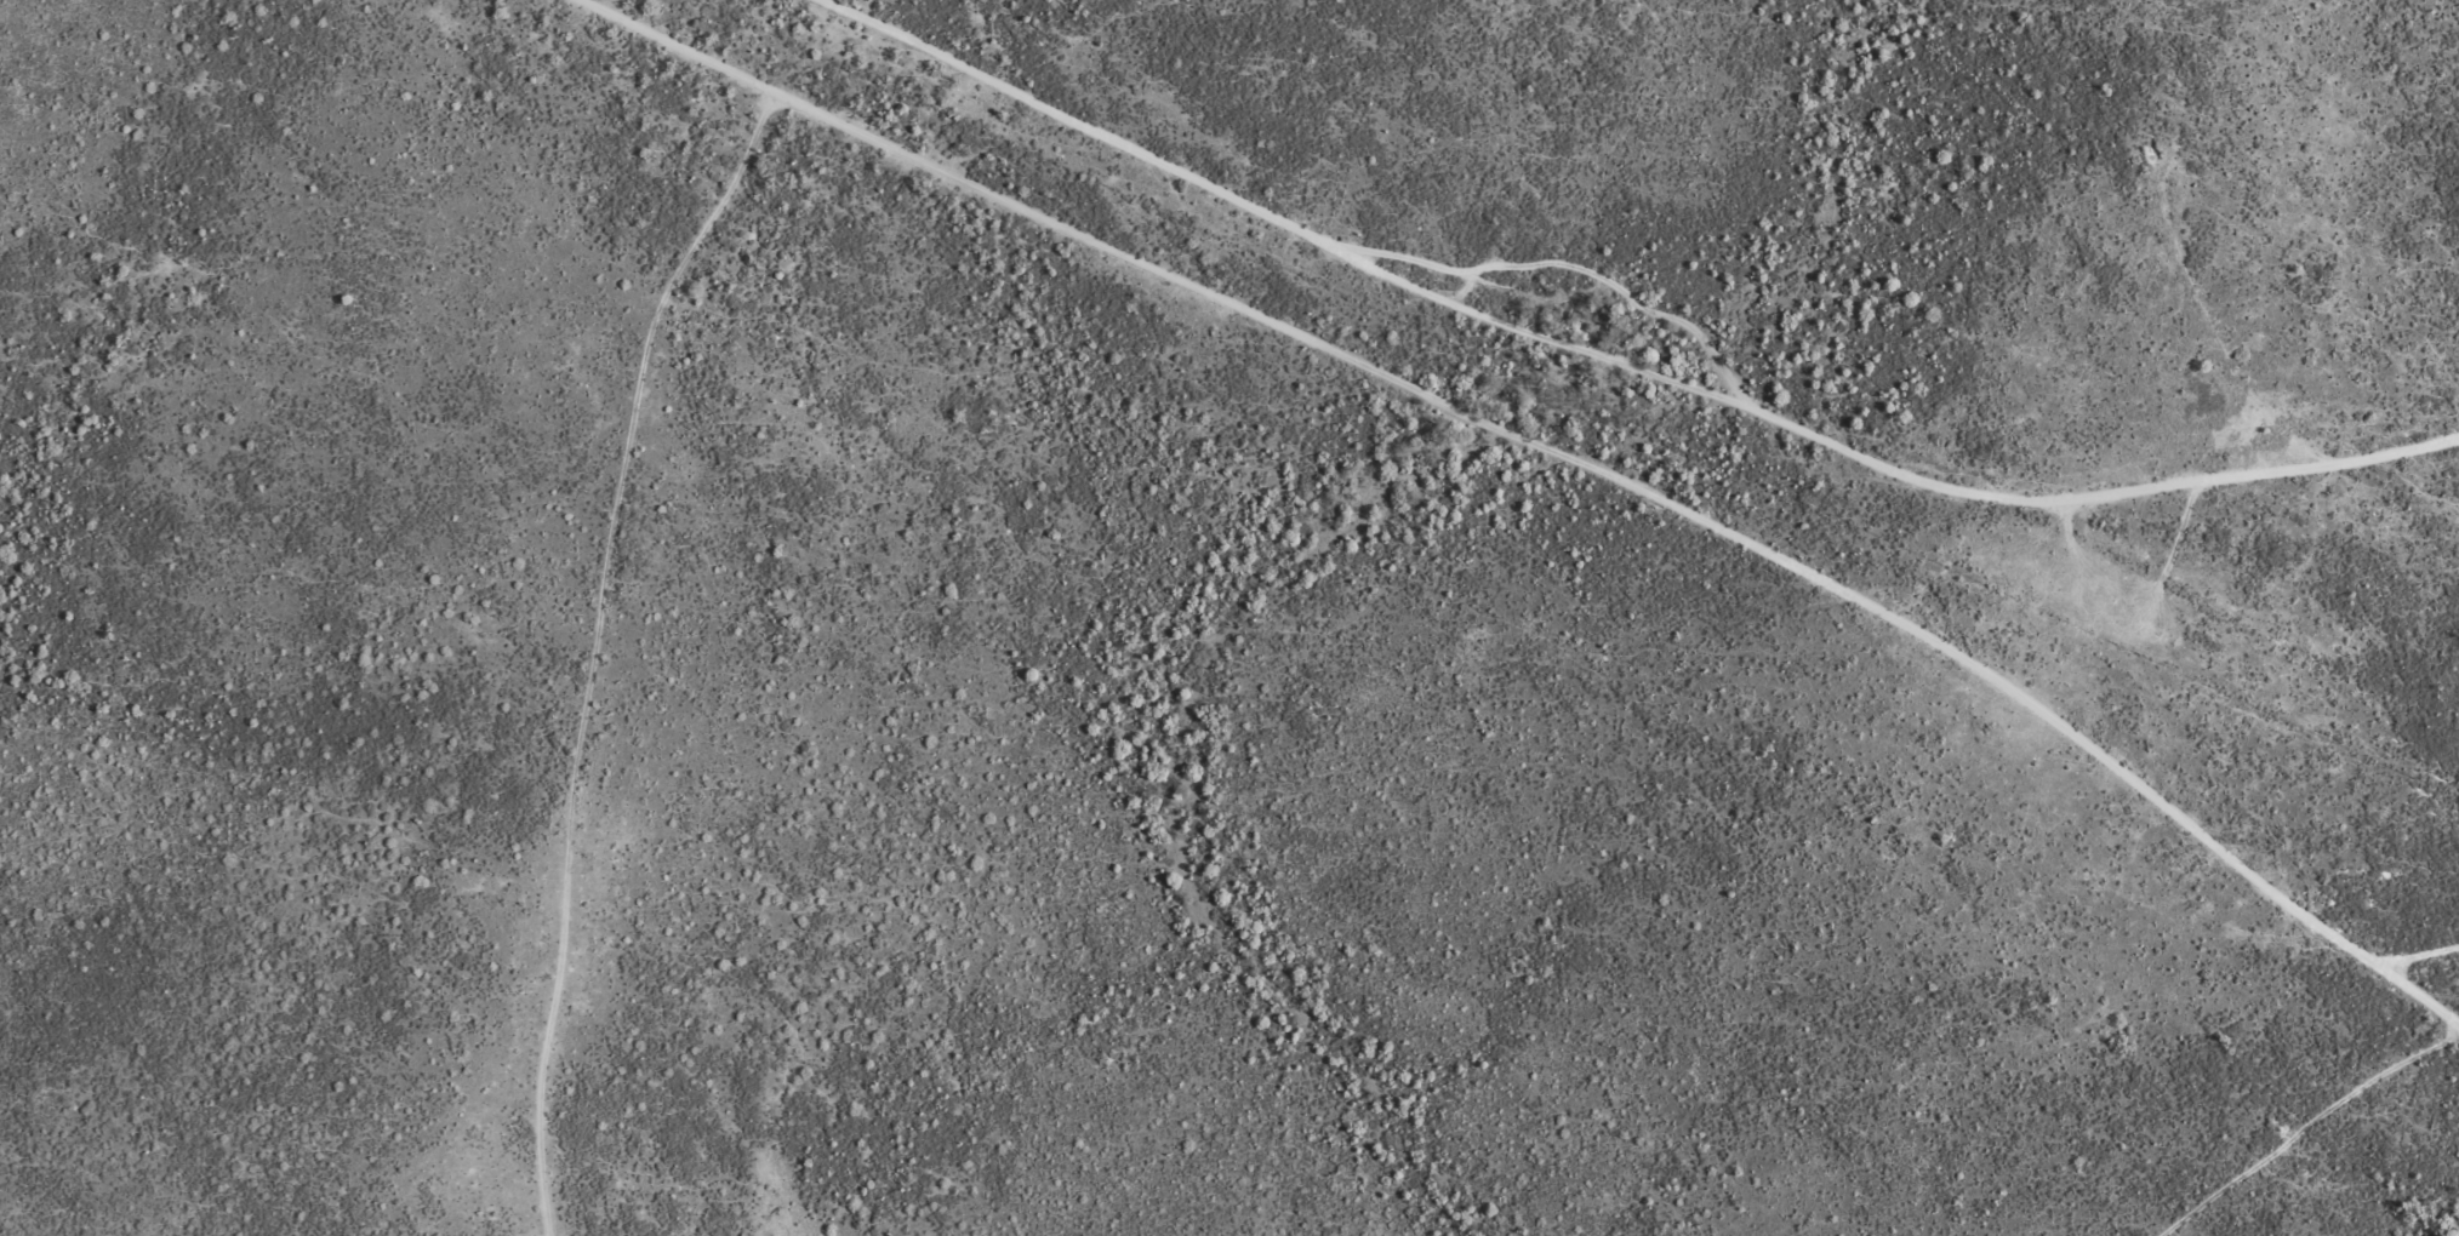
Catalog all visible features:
road: (1613, 360)
road: (1569, 450)

